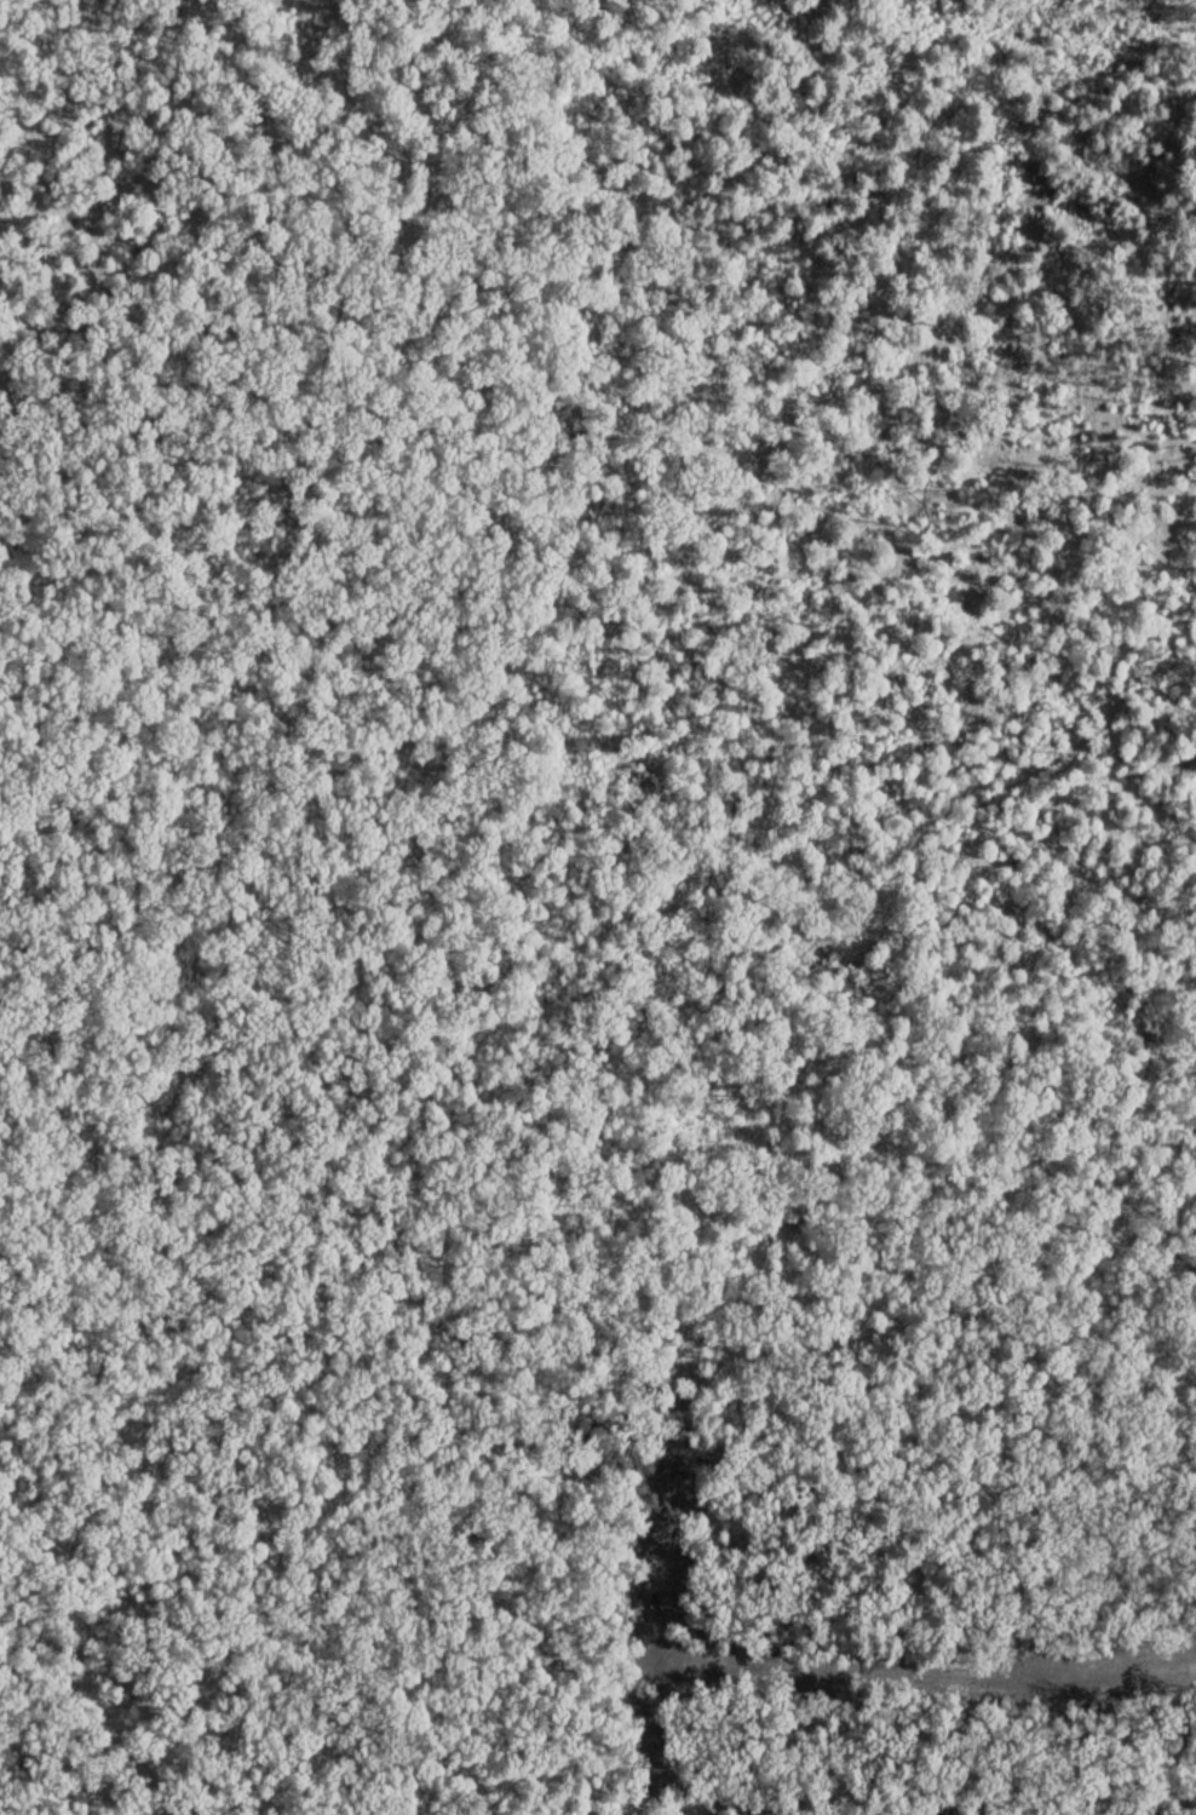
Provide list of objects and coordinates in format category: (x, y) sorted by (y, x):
building: (1131, 1799)
building: (1163, 1802)

